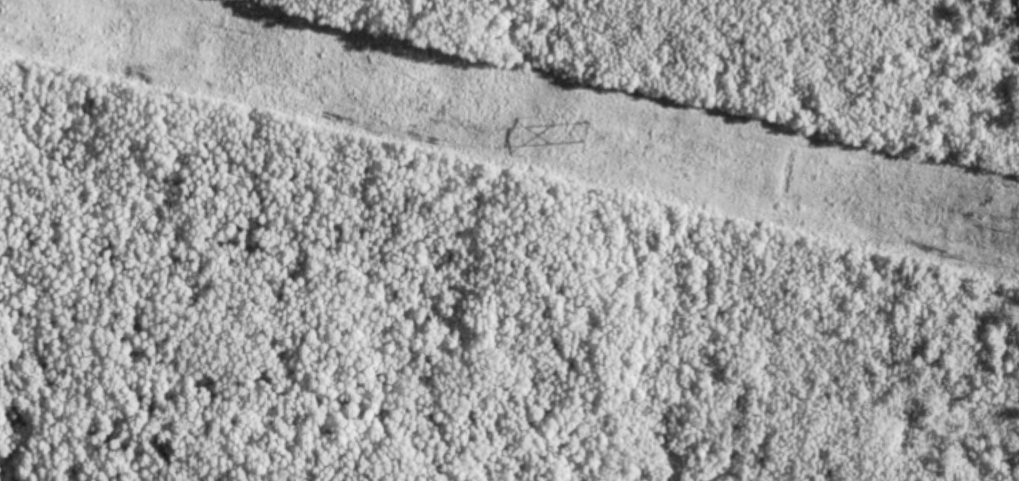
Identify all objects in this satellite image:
power tower: (584, 133)

